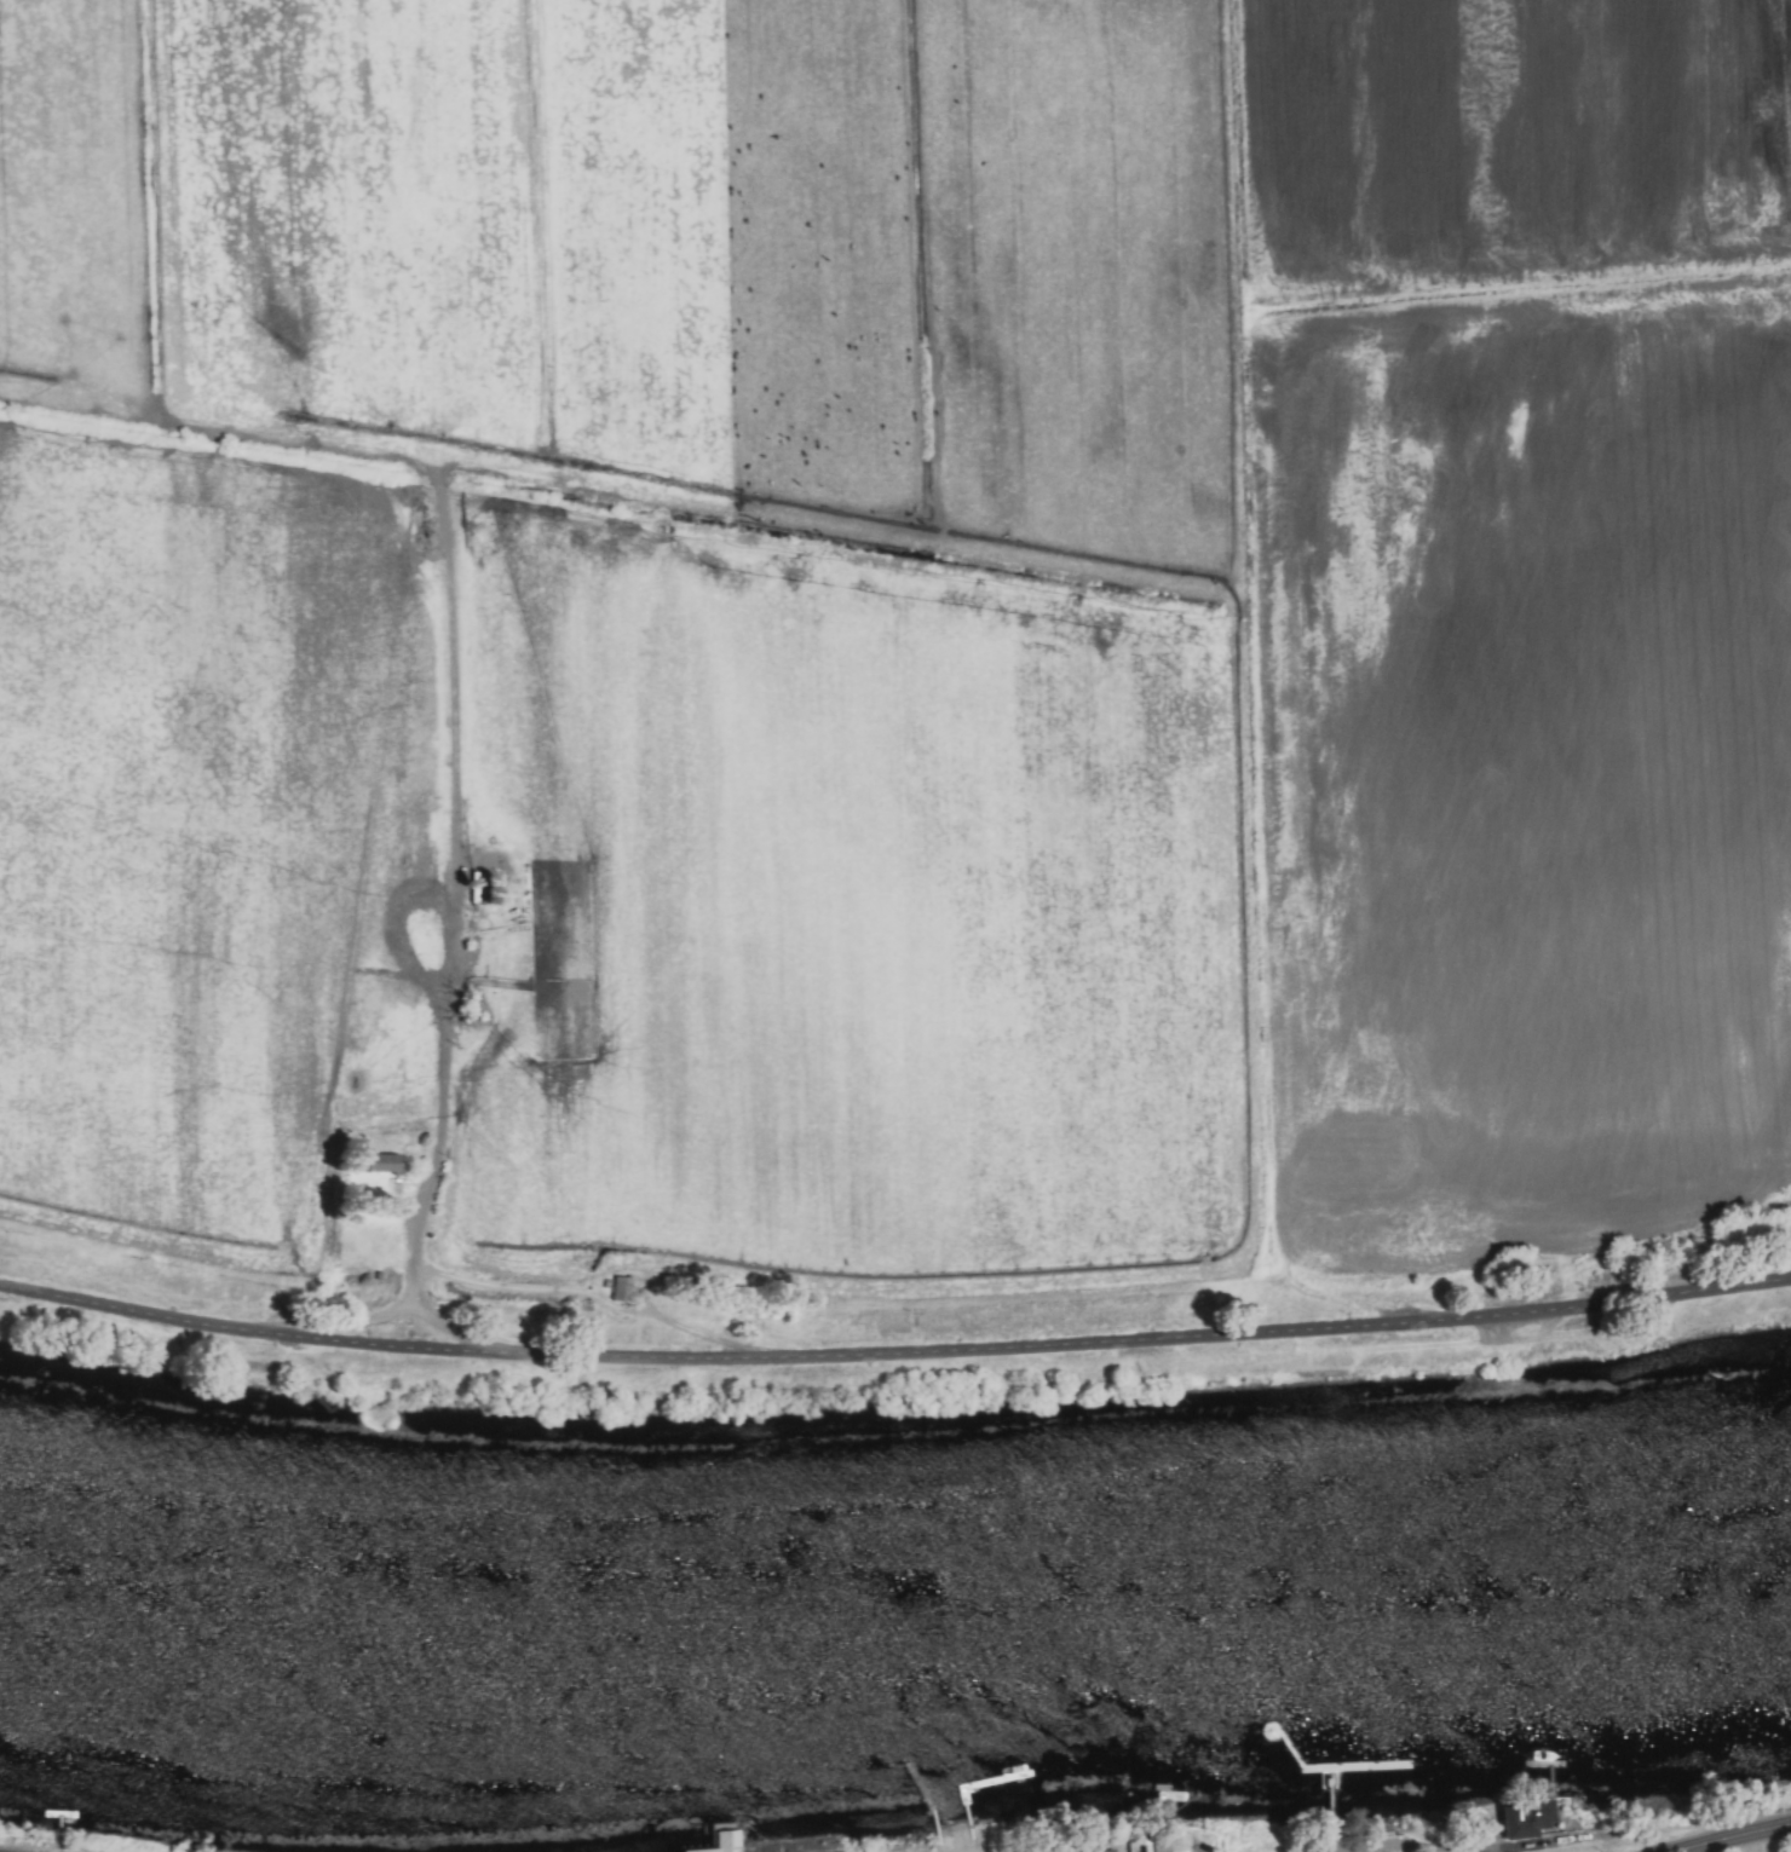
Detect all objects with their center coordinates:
crop: (895, 639)
road: (450, 999)
building: (386, 1164)
road: (523, 1288)
building: (622, 1290)
road: (697, 1333)
road: (894, 1354)
river: (897, 1615)
pier: (1283, 1744)
pier: (1352, 1764)
pier: (1326, 1808)
building: (1531, 1819)
road: (1733, 1836)
park: (1372, 1837)
building: (725, 1839)
building: (1395, 1842)
building: (1180, 1844)
road: (1479, 1846)
building: (1100, 1848)
building: (1044, 1850)
road: (1357, 1850)
road: (1369, 1850)

